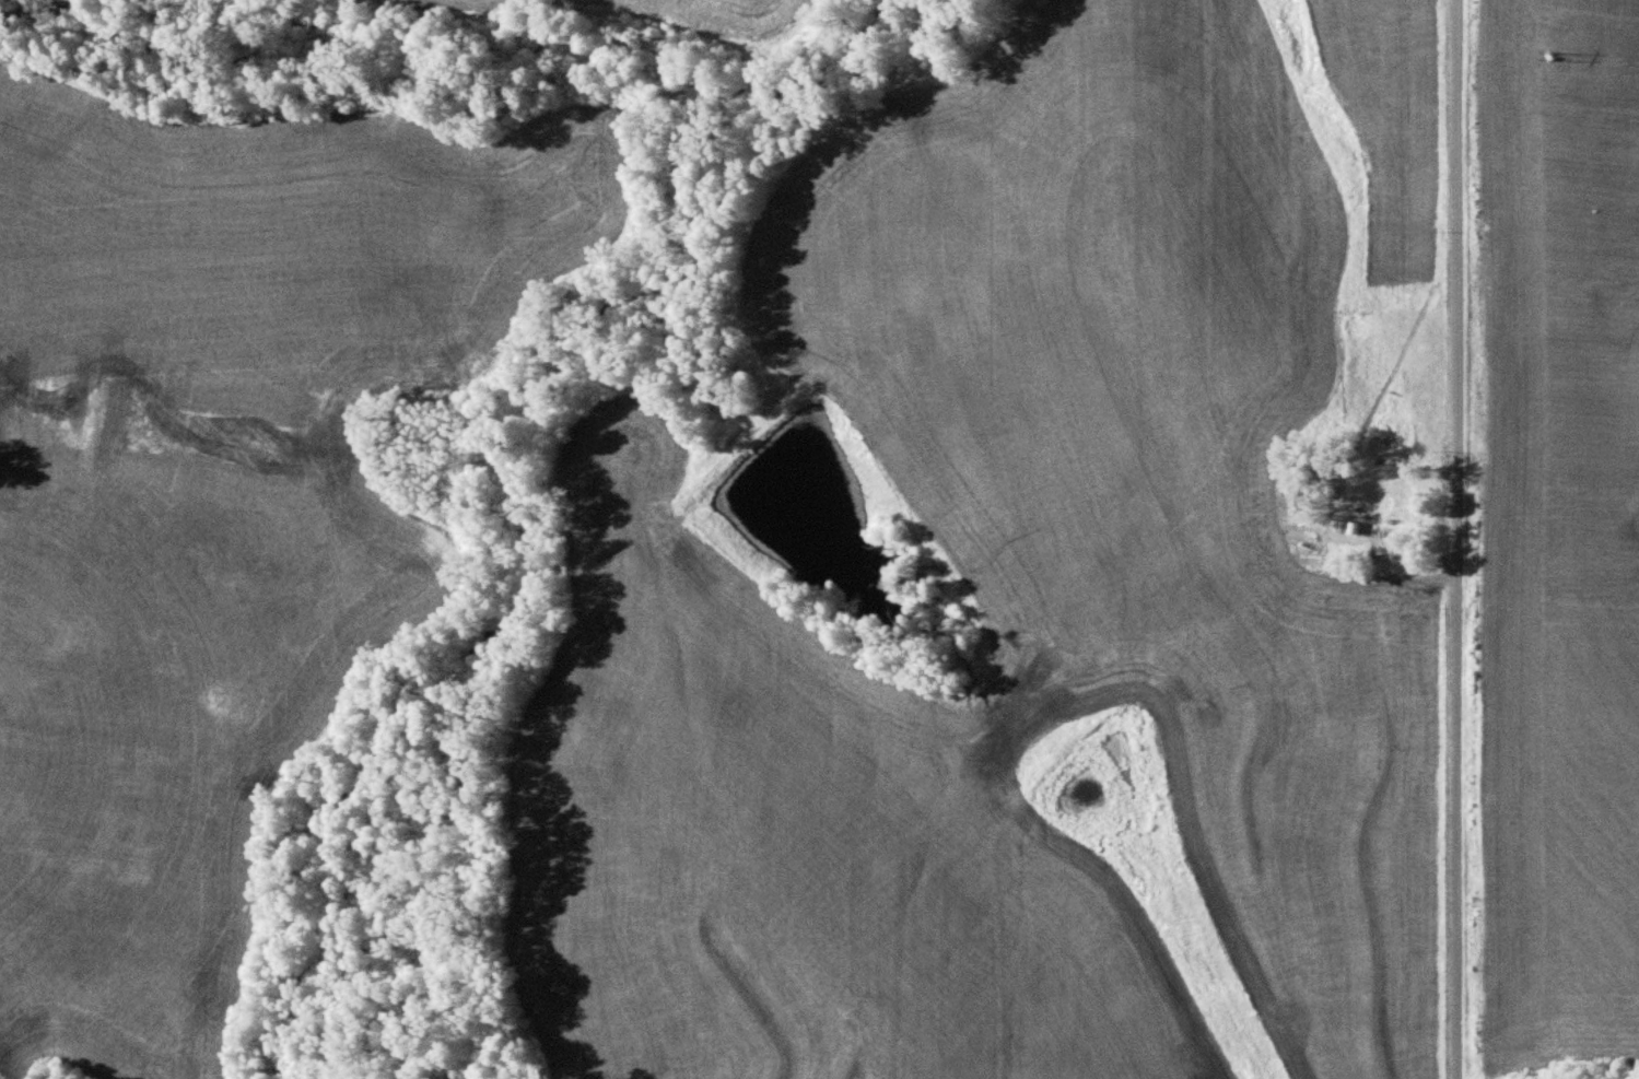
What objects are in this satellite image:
building: (1380, 518)
road: (1455, 539)
crop: (1559, 1069)

